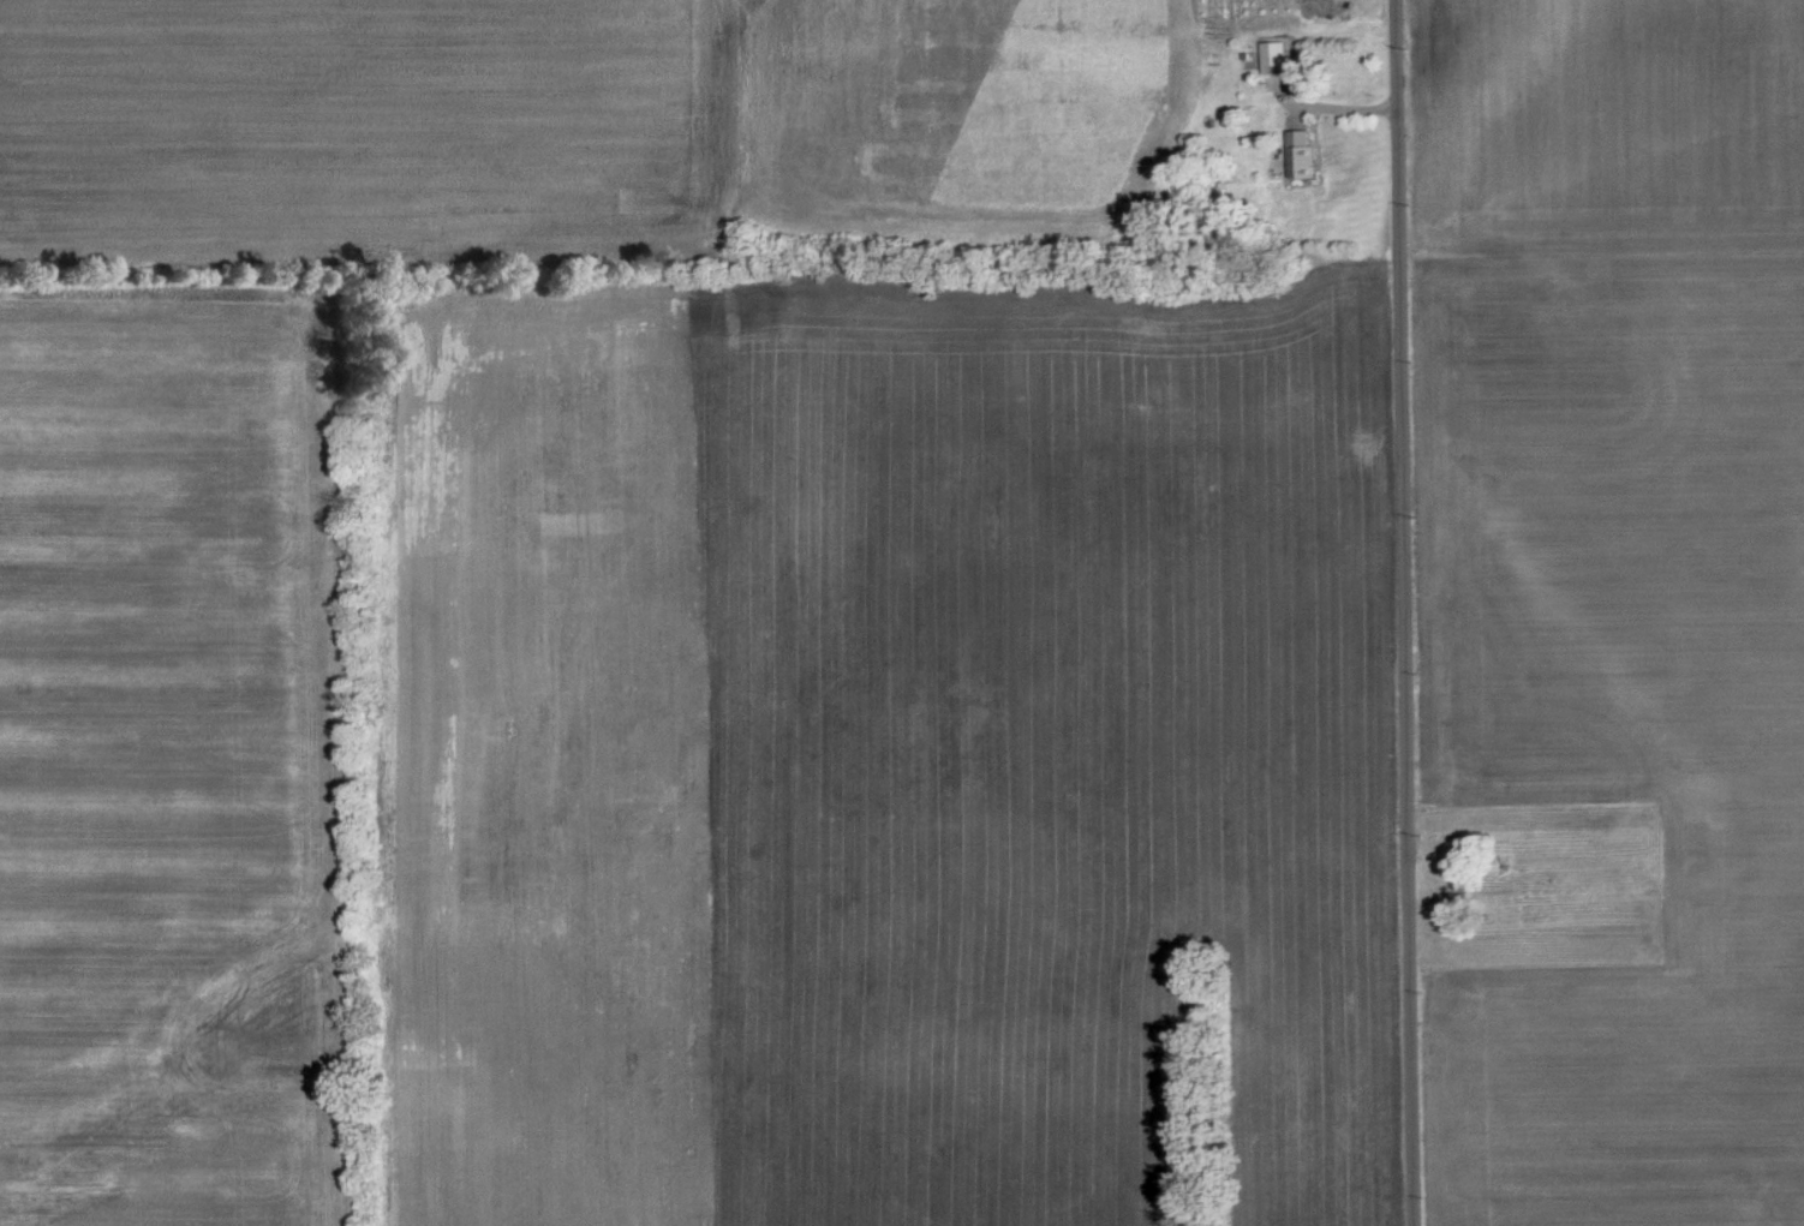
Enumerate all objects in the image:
building: (1274, 59)
building: (1300, 156)
road: (1406, 612)

